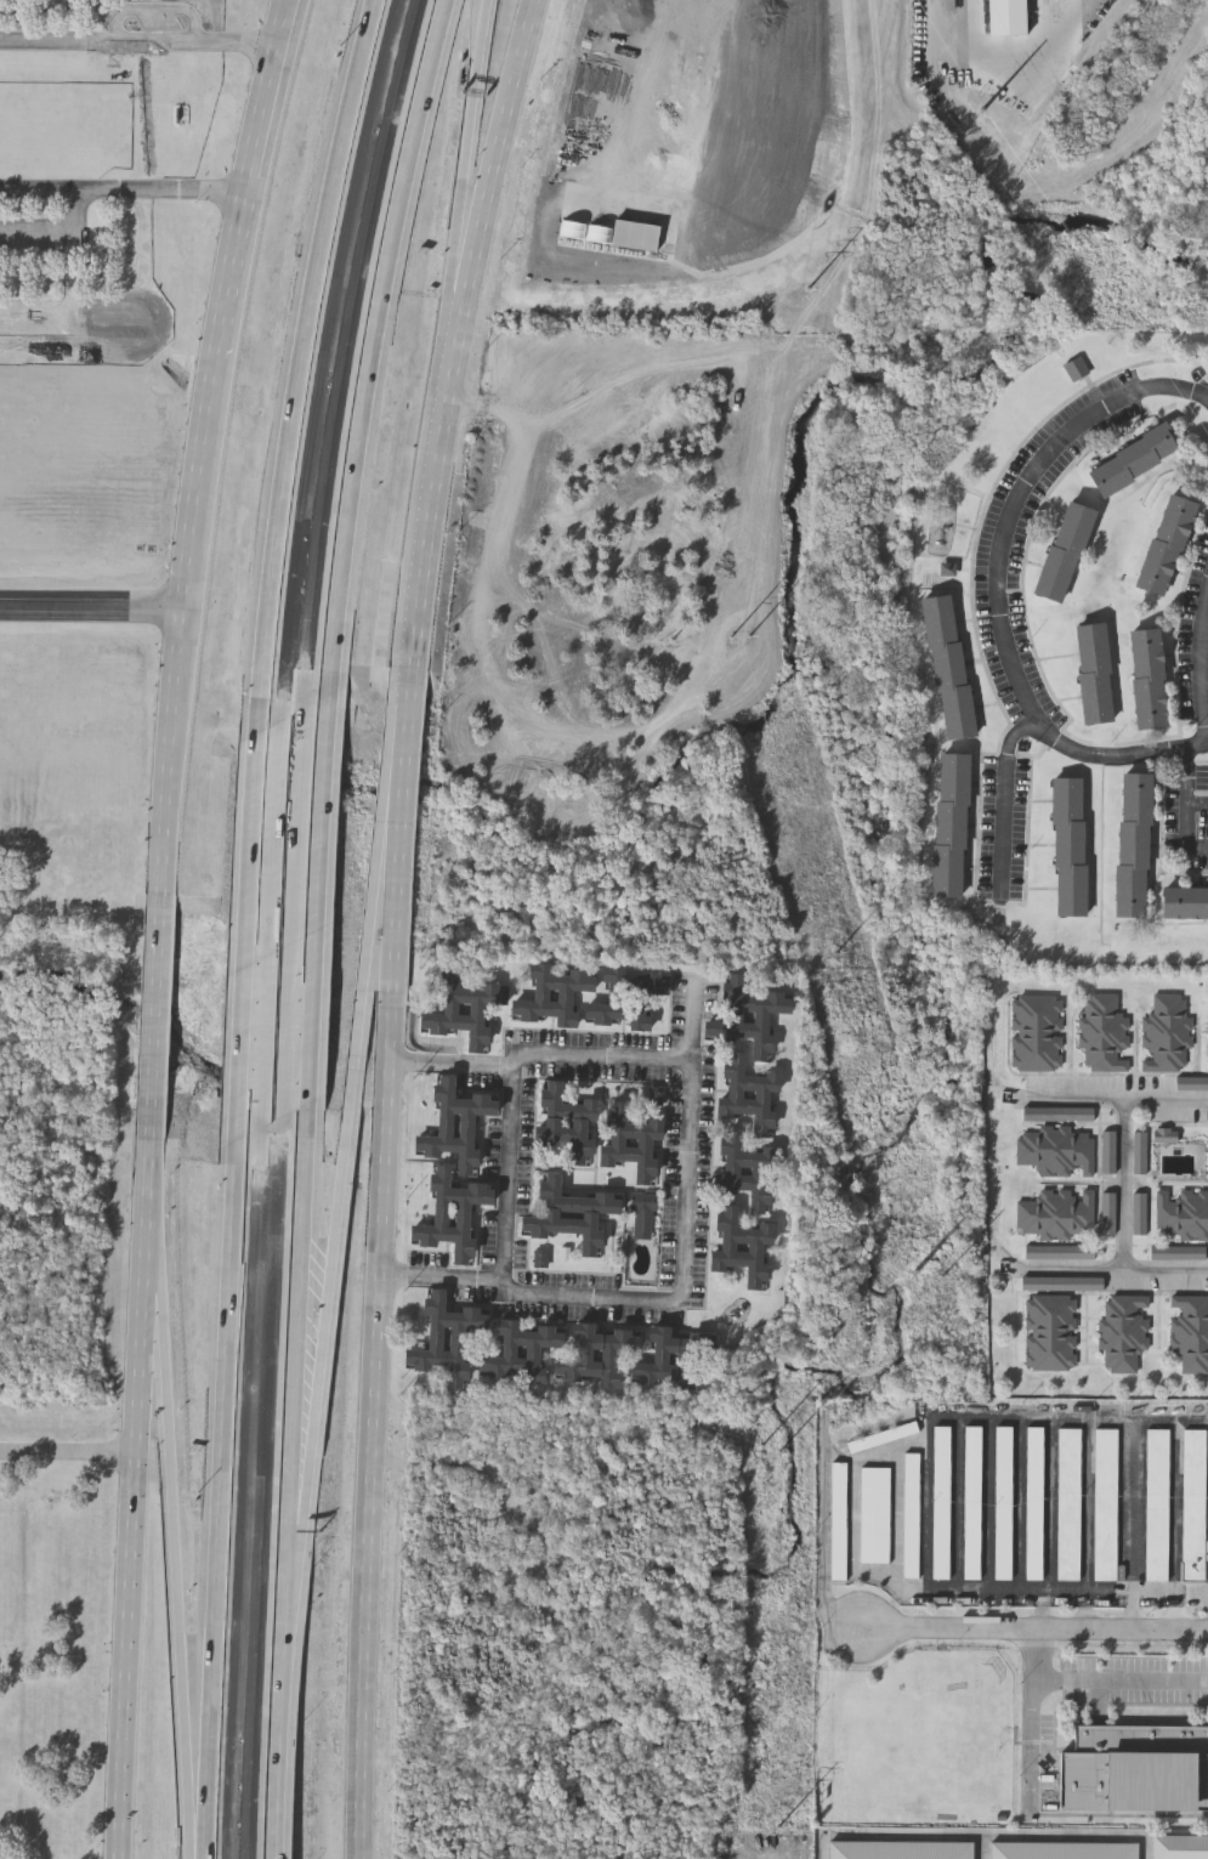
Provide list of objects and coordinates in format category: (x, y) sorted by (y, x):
road: (997, 35)
road: (140, 45)
road: (465, 169)
road: (124, 189)
road: (56, 231)
building: (634, 238)
power tower: (805, 293)
road: (459, 334)
road: (376, 344)
road: (300, 363)
building: (1077, 364)
road: (206, 444)
building: (1134, 457)
building: (1167, 542)
building: (1064, 550)
road: (493, 565)
road: (998, 585)
road: (95, 608)
power tower: (739, 640)
road: (1203, 659)
building: (948, 664)
building: (487, 667)
building: (1095, 670)
building: (1149, 675)
road: (412, 704)
road: (1005, 801)
road: (1187, 803)
building: (951, 823)
building: (1134, 843)
building: (1070, 844)
road: (401, 894)
building: (1185, 897)
road: (318, 899)
road: (379, 902)
road: (245, 937)
power tower: (838, 956)
building: (554, 993)
building: (626, 996)
building: (464, 1007)
building: (748, 1015)
road: (158, 1018)
building: (1036, 1032)
building: (1104, 1033)
building: (1166, 1033)
building: (749, 1092)
road: (1071, 1096)
road: (1166, 1096)
building: (566, 1120)
building: (455, 1122)
building: (631, 1139)
building: (1056, 1149)
building: (747, 1167)
building: (452, 1212)
building: (642, 1212)
building: (1056, 1212)
building: (1181, 1212)
building: (572, 1213)
road: (1123, 1225)
road: (684, 1229)
building: (743, 1245)
building: (1178, 1254)
power tower: (911, 1274)
road: (443, 1276)
building: (1050, 1330)
building: (1123, 1330)
building: (1190, 1330)
building: (446, 1337)
road: (323, 1344)
building: (522, 1349)
building: (597, 1353)
building: (674, 1356)
road: (297, 1359)
road: (69, 1450)
power tower: (778, 1453)
road: (372, 1456)
road: (135, 1498)
road: (221, 1500)
building: (941, 1502)
building: (971, 1502)
building: (1003, 1503)
building: (1034, 1503)
building: (1068, 1503)
building: (1157, 1503)
road: (1020, 1504)
building: (1105, 1504)
building: (1193, 1504)
road: (1133, 1506)
road: (926, 1512)
building: (874, 1514)
building: (911, 1514)
building: (836, 1519)
road: (180, 1534)
road: (824, 1536)
road: (1176, 1557)
building: (15, 1576)
road: (1043, 1609)
road: (1132, 1609)
road: (1039, 1628)
road: (1099, 1678)
road: (283, 1738)
road: (1034, 1739)
building: (1135, 1767)
power tower: (779, 1827)
building: (1184, 1832)
building: (1180, 1846)
building: (900, 1849)
building: (1062, 1849)

